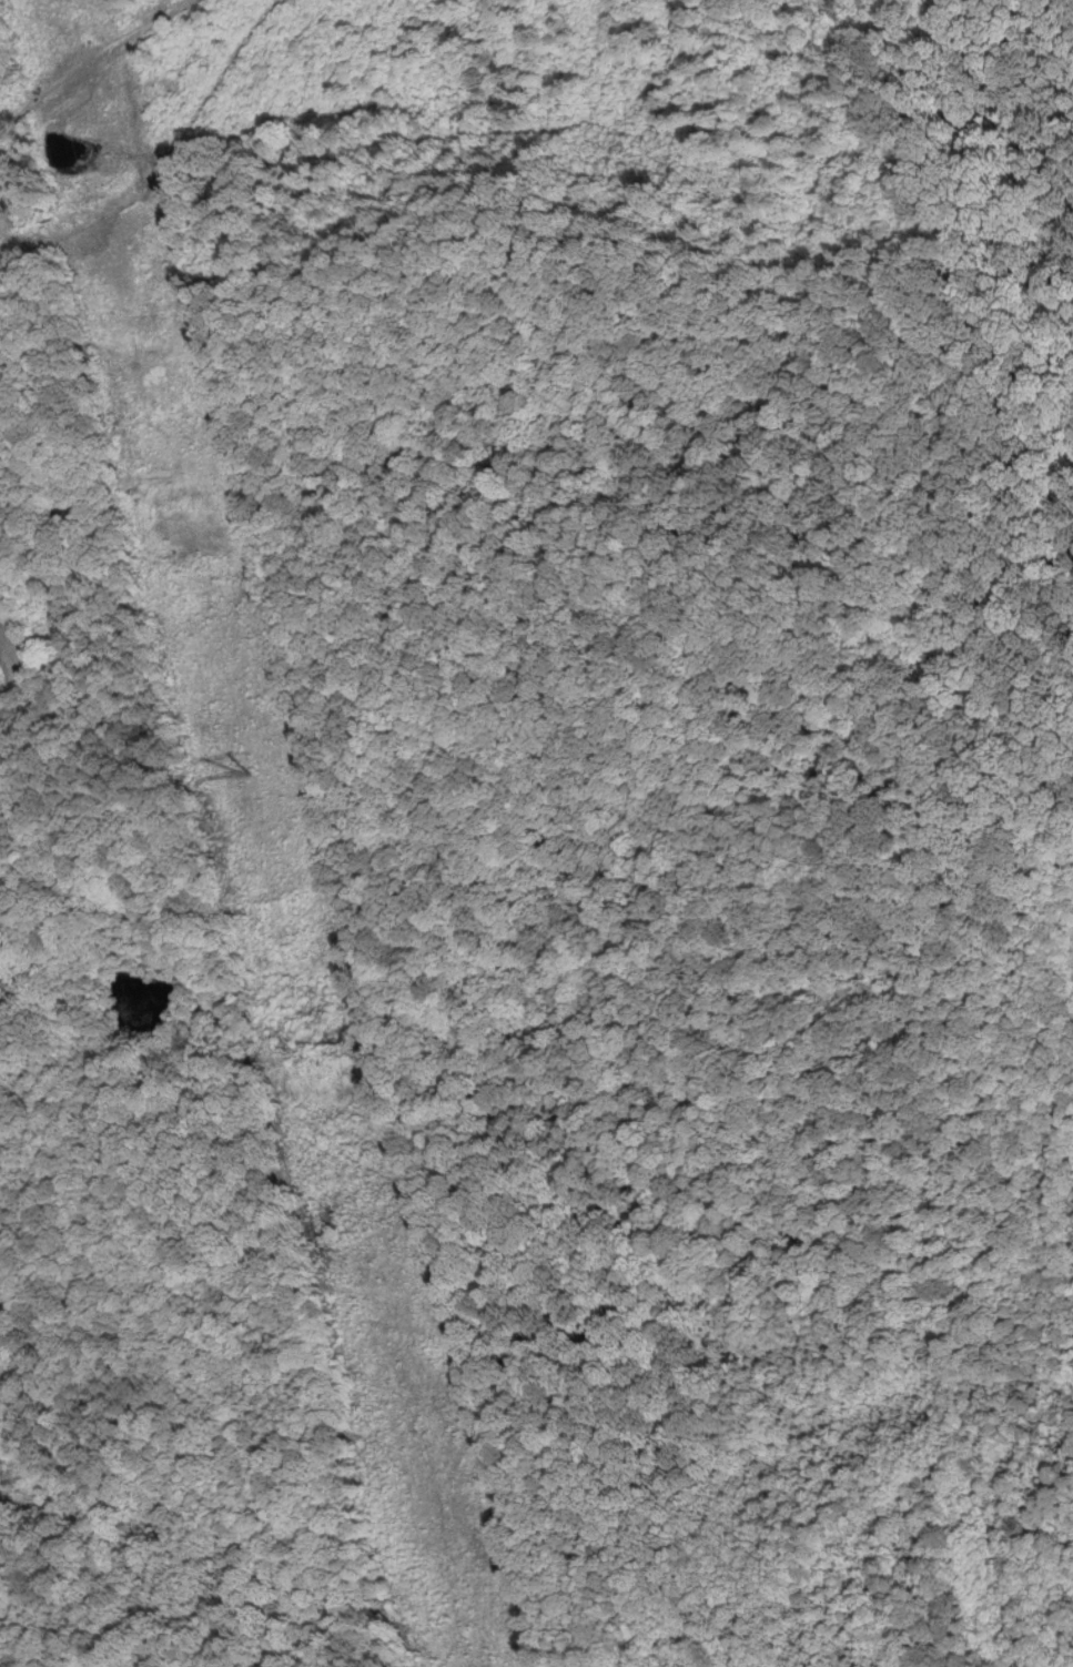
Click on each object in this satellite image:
power tower: (244, 778)

